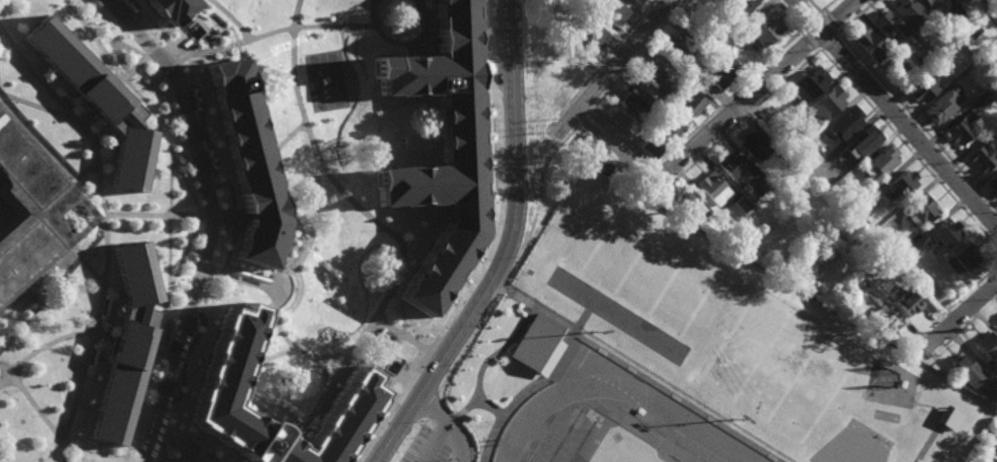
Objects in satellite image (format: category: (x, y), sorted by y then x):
building: (959, 0)
building: (638, 1)
building: (633, 2)
building: (933, 2)
building: (987, 3)
road: (816, 6)
road: (828, 6)
building: (173, 9)
building: (735, 9)
building: (611, 11)
building: (910, 11)
road: (787, 15)
road: (839, 15)
road: (857, 16)
road: (239, 17)
building: (993, 17)
building: (967, 19)
road: (811, 20)
road: (829, 21)
building: (889, 26)
road: (300, 27)
building: (972, 30)
building: (764, 31)
building: (588, 32)
road: (406, 39)
road: (810, 39)
road: (115, 40)
road: (829, 40)
building: (870, 44)
building: (679, 46)
building: (989, 49)
road: (609, 54)
road: (187, 56)
building: (942, 56)
road: (636, 58)
road: (348, 63)
building: (727, 64)
road: (613, 67)
building: (902, 71)
road: (123, 74)
building: (715, 75)
building: (996, 78)
road: (296, 79)
building: (655, 79)
building: (684, 84)
building: (807, 85)
building: (921, 88)
building: (980, 96)
road: (728, 98)
building: (636, 99)
building: (100, 103)
building: (691, 104)
building: (826, 104)
road: (741, 105)
building: (939, 106)
road: (895, 114)
road: (746, 118)
road: (917, 121)
building: (617, 122)
building: (842, 124)
building: (668, 126)
building: (962, 127)
road: (537, 136)
building: (789, 144)
building: (859, 144)
building: (591, 146)
building: (650, 146)
building: (753, 146)
road: (909, 149)
building: (800, 153)
building: (984, 154)
building: (462, 161)
building: (878, 162)
road: (98, 164)
building: (250, 164)
building: (785, 164)
building: (732, 166)
building: (845, 167)
road: (203, 171)
building: (992, 182)
building: (899, 184)
building: (762, 185)
building: (712, 189)
road: (78, 190)
road: (357, 203)
building: (741, 205)
building: (858, 207)
building: (690, 208)
building: (918, 211)
road: (84, 212)
building: (35, 213)
road: (174, 214)
road: (200, 215)
road: (209, 215)
building: (879, 230)
road: (194, 235)
building: (943, 235)
road: (405, 249)
road: (508, 249)
road: (494, 250)
road: (306, 251)
building: (902, 254)
road: (50, 257)
building: (963, 258)
building: (872, 264)
road: (241, 277)
building: (920, 285)
road: (390, 292)
building: (906, 303)
road: (959, 314)
building: (883, 323)
road: (403, 334)
building: (129, 342)
building: (538, 345)
road: (42, 348)
road: (264, 348)
building: (988, 348)
road: (279, 354)
road: (308, 354)
park: (797, 361)
building: (966, 371)
road: (325, 373)
road: (147, 377)
track: (611, 379)
building: (222, 381)
park: (890, 383)
road: (76, 398)
road: (32, 400)
road: (159, 413)
park: (579, 413)
park: (598, 414)
road: (313, 416)
building: (949, 418)
road: (453, 419)
track: (626, 428)
track: (658, 431)
track: (565, 436)
track: (536, 438)
road: (436, 439)
park: (595, 440)
track: (581, 442)
building: (988, 444)
road: (181, 445)
track: (532, 445)
track: (558, 445)
park: (853, 445)
parking lot: (431, 448)
park: (624, 448)
road: (98, 452)
park: (673, 456)
track: (673, 457)
park: (706, 458)
track: (703, 459)
park: (587, 460)
building: (84, 461)
park: (592, 461)

